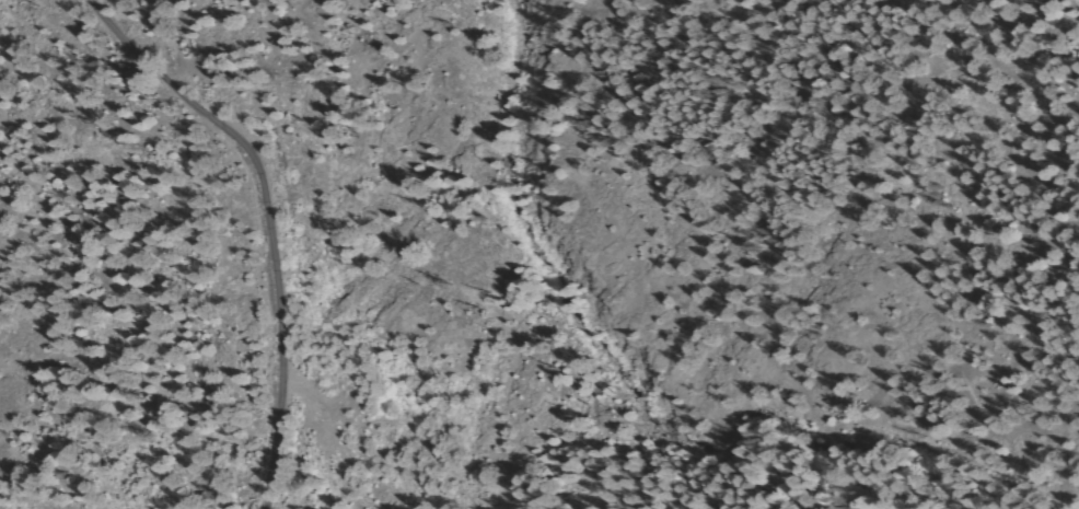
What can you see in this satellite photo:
road: (264, 217)

